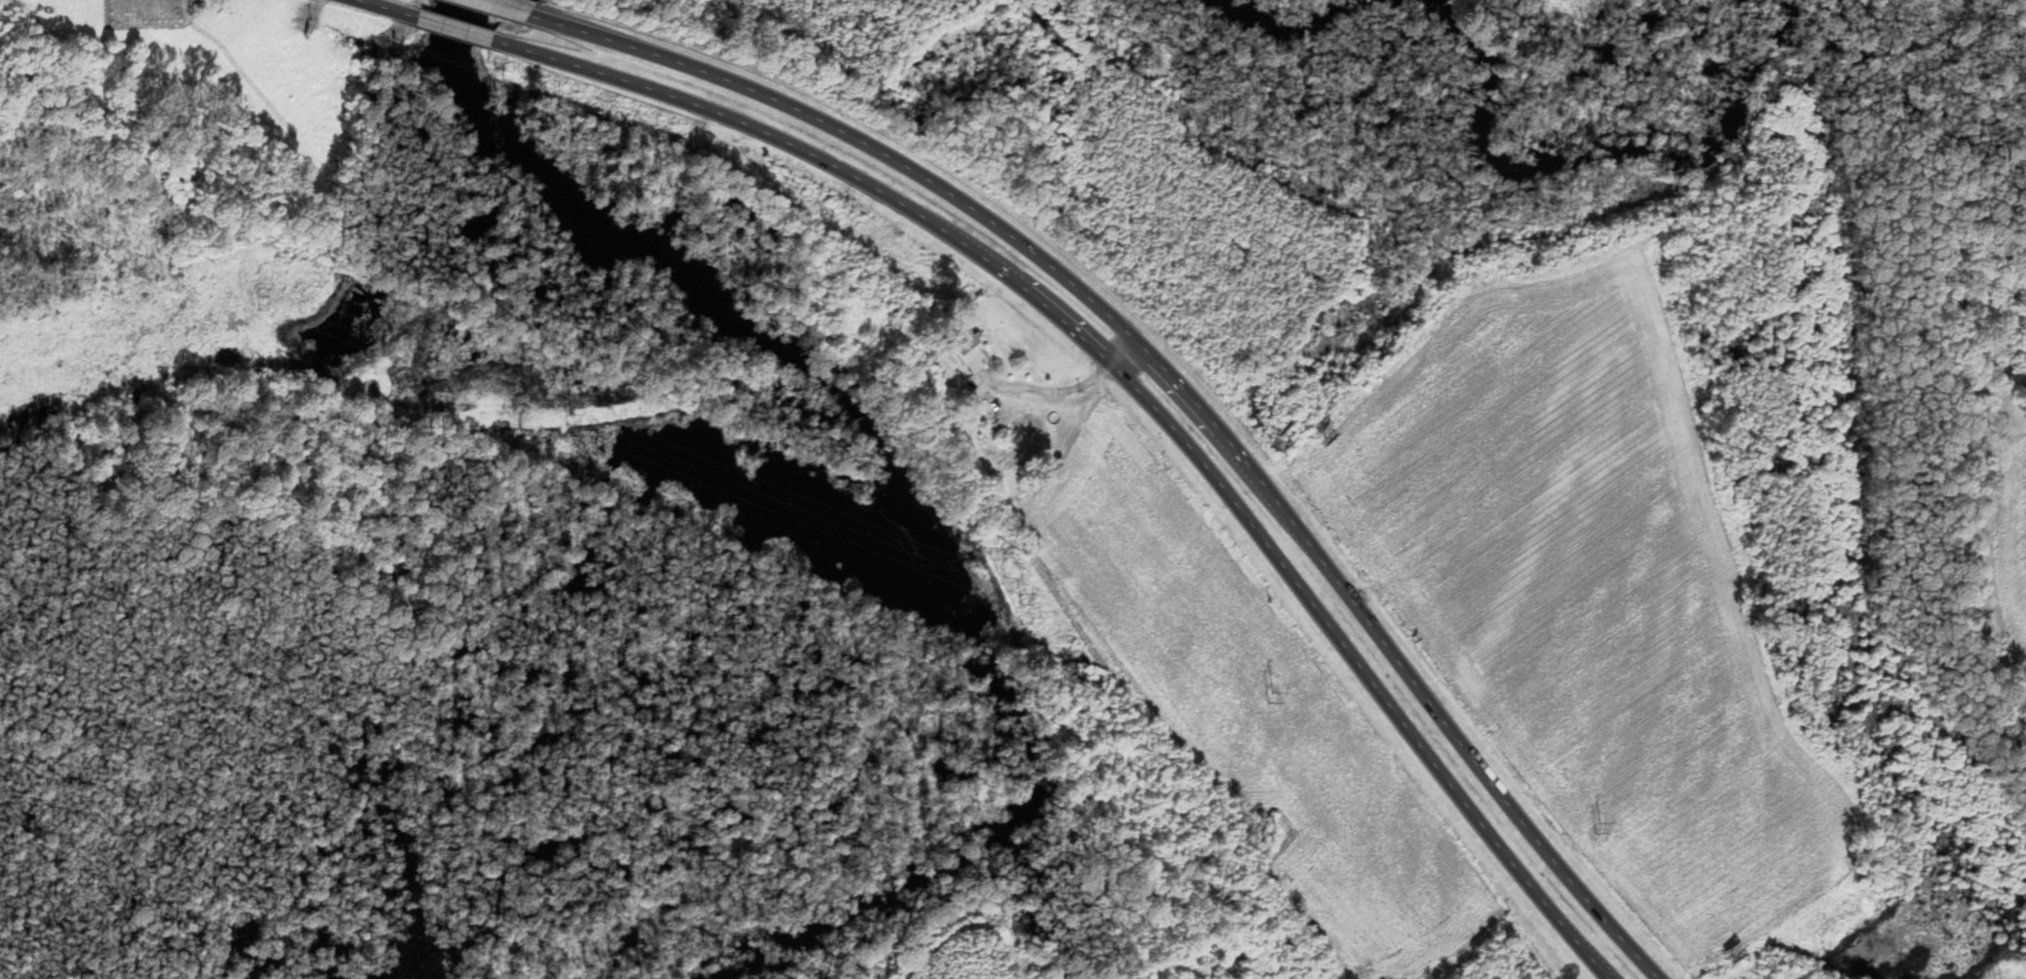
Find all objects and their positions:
road: (380, 9)
road: (498, 9)
road: (455, 31)
power tower: (258, 300)
building: (975, 354)
road: (1129, 358)
road: (1181, 388)
road: (1143, 398)
power tower: (566, 419)
building: (1010, 419)
power tower: (1010, 600)
power tower: (1271, 698)
road: (1128, 748)
power tower: (1594, 829)

